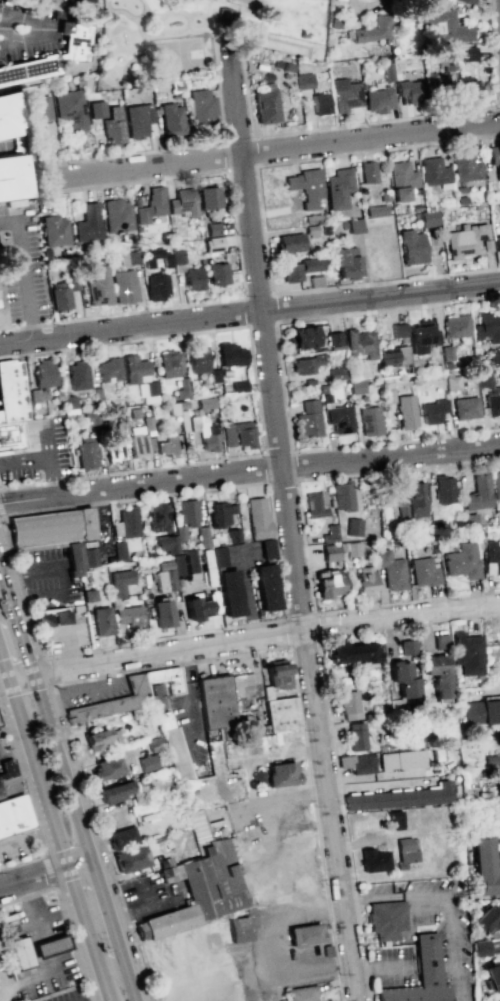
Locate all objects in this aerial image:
building: (79, 1)
building: (464, 1)
road: (106, 6)
road: (147, 9)
road: (141, 14)
building: (222, 15)
road: (213, 17)
road: (131, 19)
building: (445, 25)
road: (47, 26)
road: (0, 27)
parking lot: (28, 30)
road: (173, 35)
park: (206, 37)
road: (143, 44)
park: (278, 45)
building: (468, 53)
building: (53, 55)
park: (177, 56)
building: (446, 59)
building: (304, 80)
building: (439, 84)
building: (469, 89)
building: (411, 90)
building: (344, 95)
building: (377, 100)
building: (320, 103)
building: (265, 104)
road: (499, 105)
building: (201, 106)
building: (72, 109)
building: (97, 109)
building: (8, 114)
building: (38, 114)
building: (137, 120)
building: (171, 120)
road: (376, 121)
building: (113, 126)
road: (189, 147)
road: (275, 152)
building: (495, 158)
road: (254, 165)
building: (465, 167)
building: (433, 171)
building: (367, 172)
building: (11, 179)
building: (401, 180)
building: (306, 186)
building: (338, 188)
building: (209, 197)
building: (181, 202)
building: (151, 205)
building: (375, 210)
building: (118, 215)
building: (428, 218)
road: (261, 221)
building: (88, 223)
building: (354, 225)
building: (213, 229)
building: (55, 230)
building: (465, 240)
building: (289, 242)
building: (213, 243)
building: (497, 243)
building: (411, 247)
building: (129, 258)
building: (166, 262)
building: (347, 262)
parking lot: (21, 263)
road: (239, 264)
building: (299, 269)
road: (23, 271)
building: (218, 273)
building: (193, 278)
building: (315, 281)
building: (73, 284)
building: (124, 286)
building: (156, 286)
building: (99, 287)
road: (250, 313)
building: (1, 319)
road: (273, 321)
building: (456, 326)
building: (487, 327)
building: (398, 330)
building: (422, 336)
building: (301, 337)
building: (334, 340)
building: (360, 343)
building: (231, 354)
building: (393, 356)
building: (197, 359)
building: (169, 364)
building: (305, 364)
building: (109, 370)
building: (44, 373)
building: (78, 375)
road: (281, 377)
building: (484, 377)
building: (140, 378)
building: (453, 382)
building: (182, 388)
building: (12, 394)
building: (38, 395)
road: (256, 398)
building: (493, 401)
building: (206, 402)
building: (69, 404)
building: (466, 407)
building: (406, 411)
building: (432, 411)
building: (339, 418)
building: (308, 419)
building: (370, 419)
building: (205, 433)
building: (238, 434)
building: (10, 438)
building: (139, 445)
road: (47, 446)
building: (167, 446)
building: (117, 447)
building: (86, 453)
parking lot: (37, 455)
road: (42, 460)
road: (456, 463)
road: (249, 471)
road: (280, 480)
building: (496, 484)
building: (444, 489)
building: (478, 493)
building: (342, 495)
road: (128, 498)
building: (410, 501)
building: (315, 504)
building: (188, 512)
building: (218, 514)
road: (1, 516)
building: (257, 517)
building: (158, 518)
building: (353, 526)
road: (289, 531)
building: (54, 534)
building: (170, 540)
building: (330, 543)
building: (267, 548)
building: (351, 549)
building: (119, 551)
building: (218, 556)
building: (89, 557)
building: (492, 558)
building: (462, 561)
road: (45, 569)
building: (176, 569)
building: (391, 570)
building: (425, 571)
road: (7, 580)
building: (363, 580)
parking lot: (48, 581)
road: (308, 581)
building: (120, 582)
building: (328, 584)
building: (266, 587)
building: (230, 592)
road: (38, 595)
building: (197, 608)
building: (163, 613)
road: (402, 614)
building: (130, 616)
building: (50, 619)
building: (102, 621)
road: (312, 636)
road: (26, 640)
parking lot: (66, 640)
building: (440, 641)
building: (407, 647)
road: (68, 649)
road: (171, 651)
building: (352, 652)
building: (467, 653)
road: (185, 662)
road: (1, 664)
road: (4, 668)
road: (49, 670)
building: (277, 674)
building: (438, 675)
road: (23, 679)
building: (166, 679)
building: (403, 679)
road: (90, 687)
parking lot: (95, 692)
building: (113, 704)
building: (348, 704)
building: (217, 705)
building: (481, 711)
building: (280, 712)
parking lot: (191, 724)
road: (330, 727)
road: (11, 731)
building: (355, 736)
building: (101, 742)
building: (173, 746)
parking lot: (4, 755)
road: (21, 758)
building: (401, 759)
building: (147, 762)
building: (356, 763)
road: (6, 764)
road: (66, 765)
road: (0, 766)
building: (107, 768)
parking lot: (0, 770)
road: (36, 773)
road: (392, 774)
building: (282, 775)
road: (350, 778)
building: (114, 792)
building: (400, 797)
building: (10, 801)
road: (28, 805)
building: (394, 819)
road: (26, 837)
parking lot: (16, 848)
building: (125, 850)
building: (406, 851)
road: (79, 860)
building: (373, 860)
building: (485, 865)
road: (48, 870)
road: (32, 875)
building: (215, 880)
parking lot: (150, 895)
road: (448, 896)
road: (30, 905)
road: (142, 910)
road: (63, 916)
building: (486, 920)
building: (386, 921)
parking lot: (33, 922)
building: (167, 922)
road: (114, 923)
road: (82, 925)
building: (213, 929)
building: (238, 930)
building: (306, 935)
building: (51, 947)
building: (480, 947)
building: (20, 953)
road: (498, 954)
road: (378, 968)
road: (46, 974)
building: (420, 976)
building: (492, 976)
parking lot: (46, 977)
parking lot: (8, 986)
road: (104, 993)
building: (302, 993)
parking lot: (68, 995)
parking lot: (68, 996)
road: (137, 996)
building: (499, 1000)

